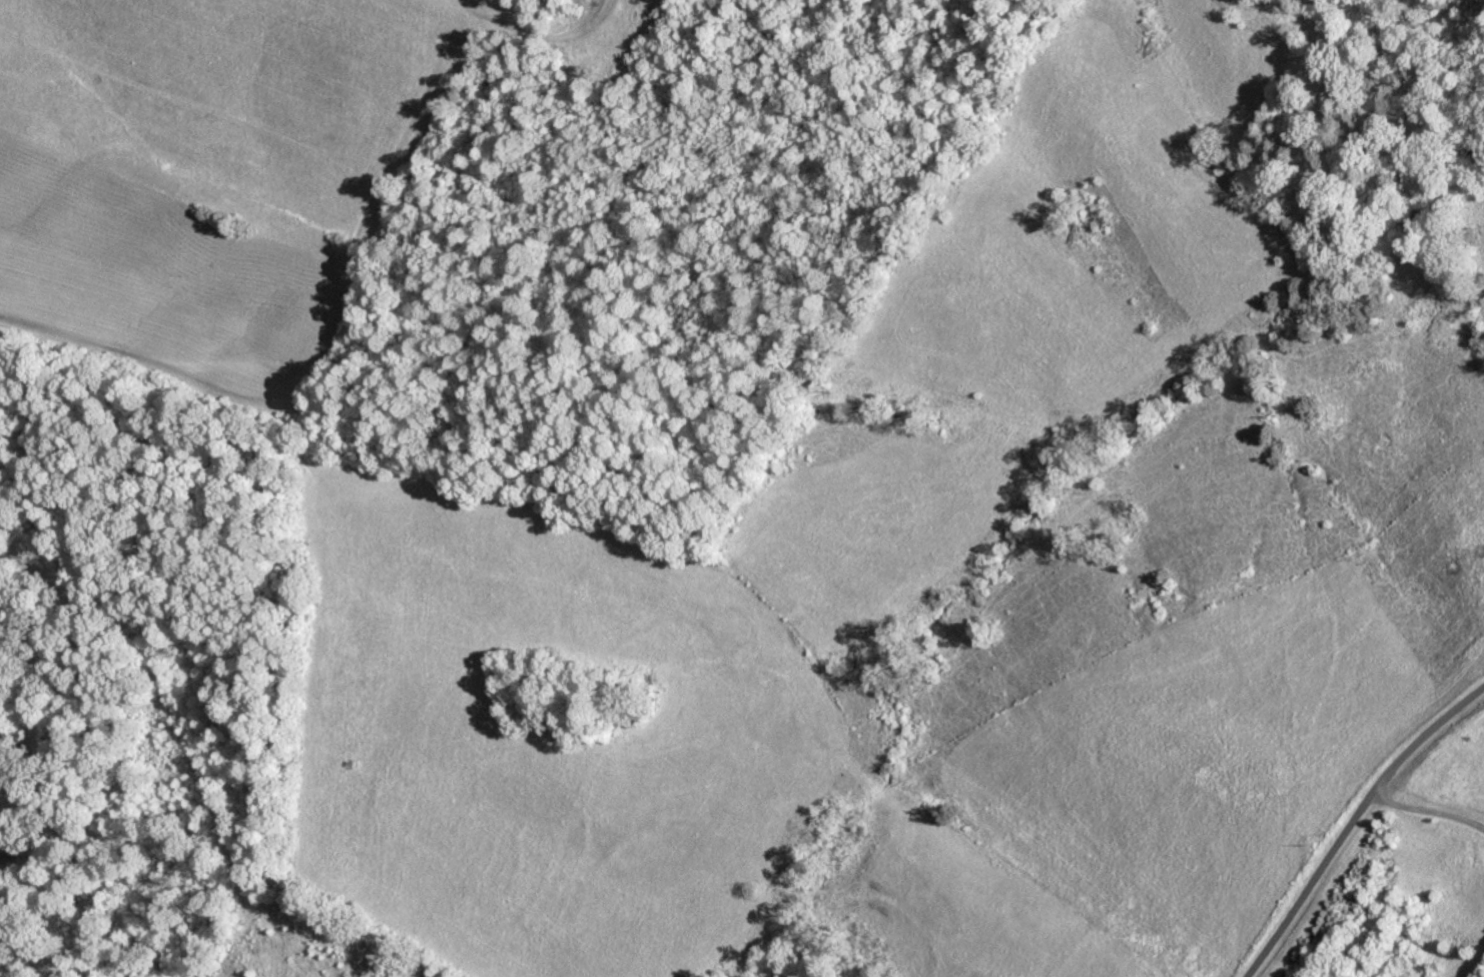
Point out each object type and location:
road: (1354, 823)

